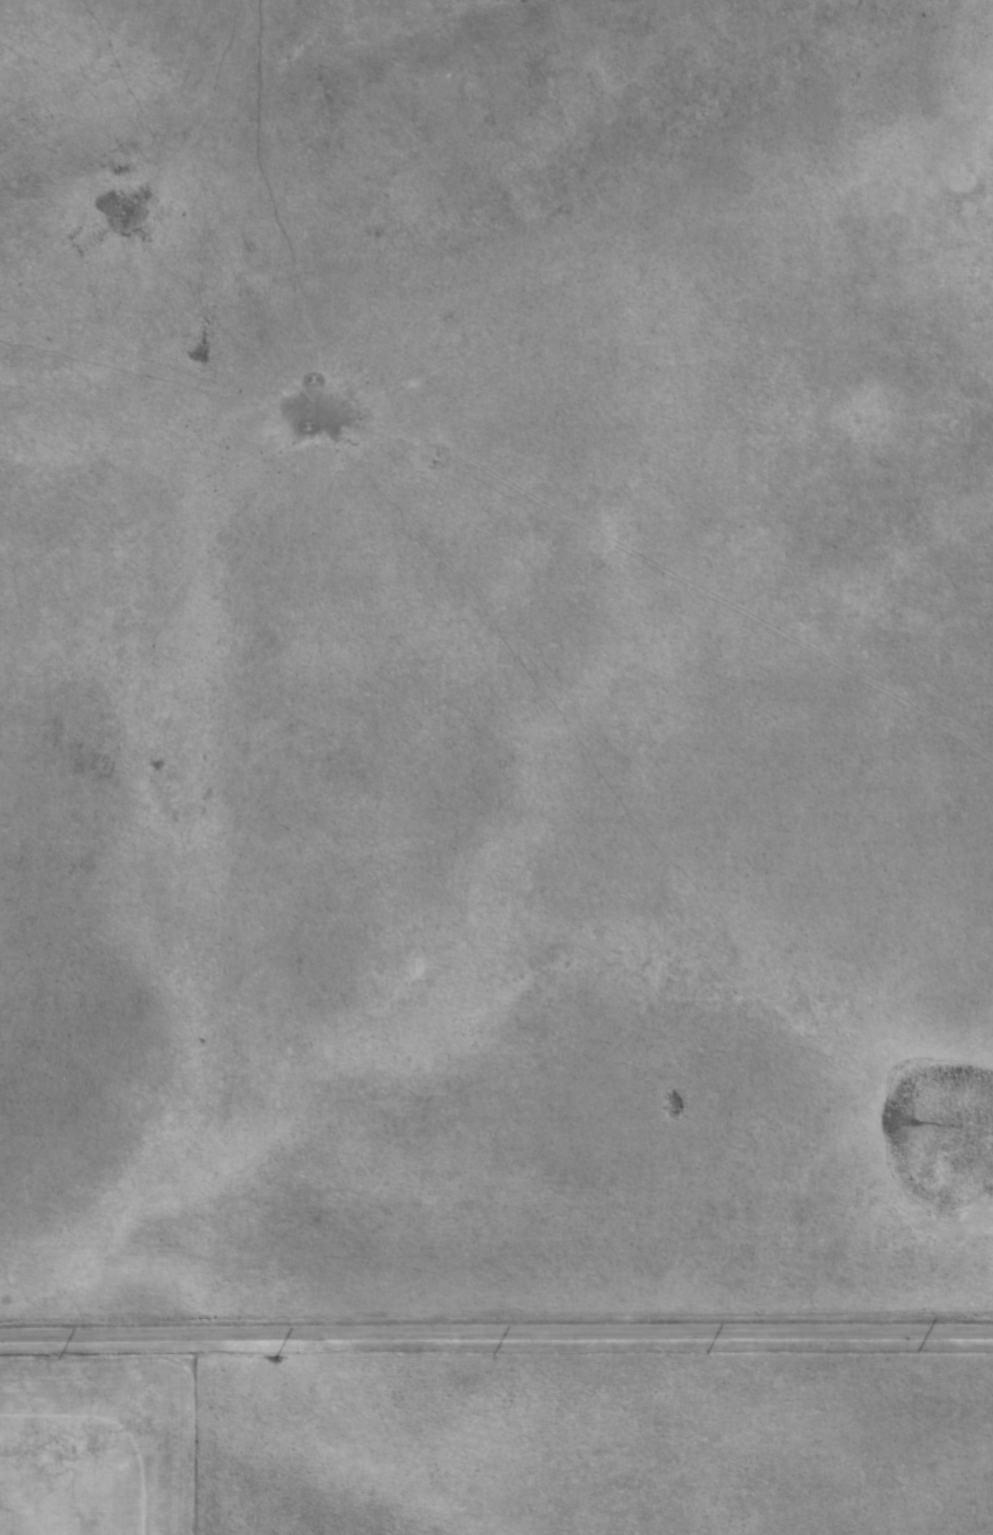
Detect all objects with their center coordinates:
road: (496, 1337)

